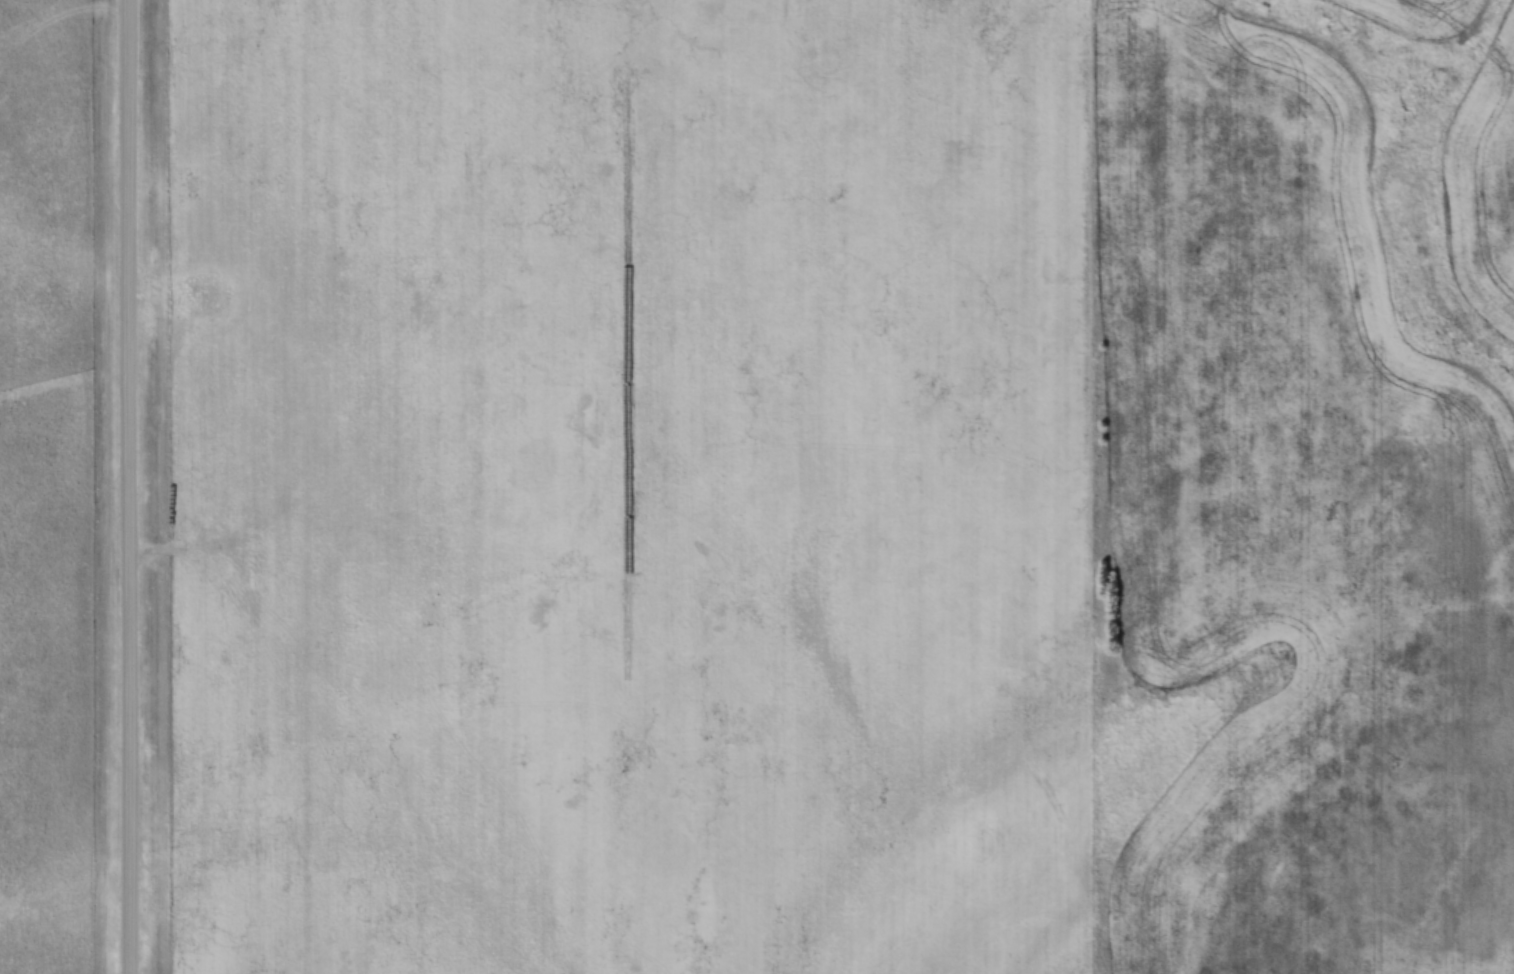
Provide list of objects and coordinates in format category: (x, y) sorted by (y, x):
road: (131, 487)

